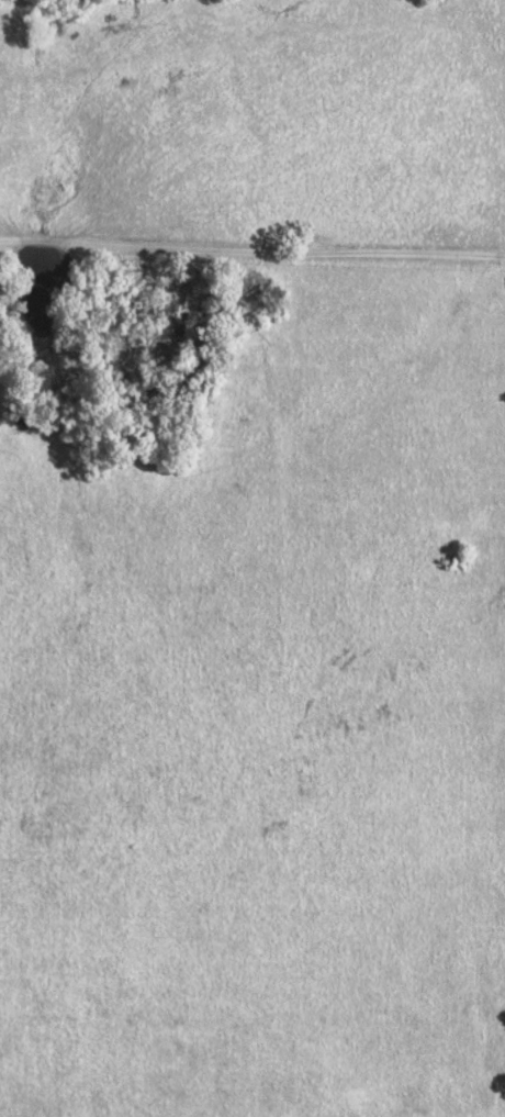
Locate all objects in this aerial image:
road: (251, 249)

